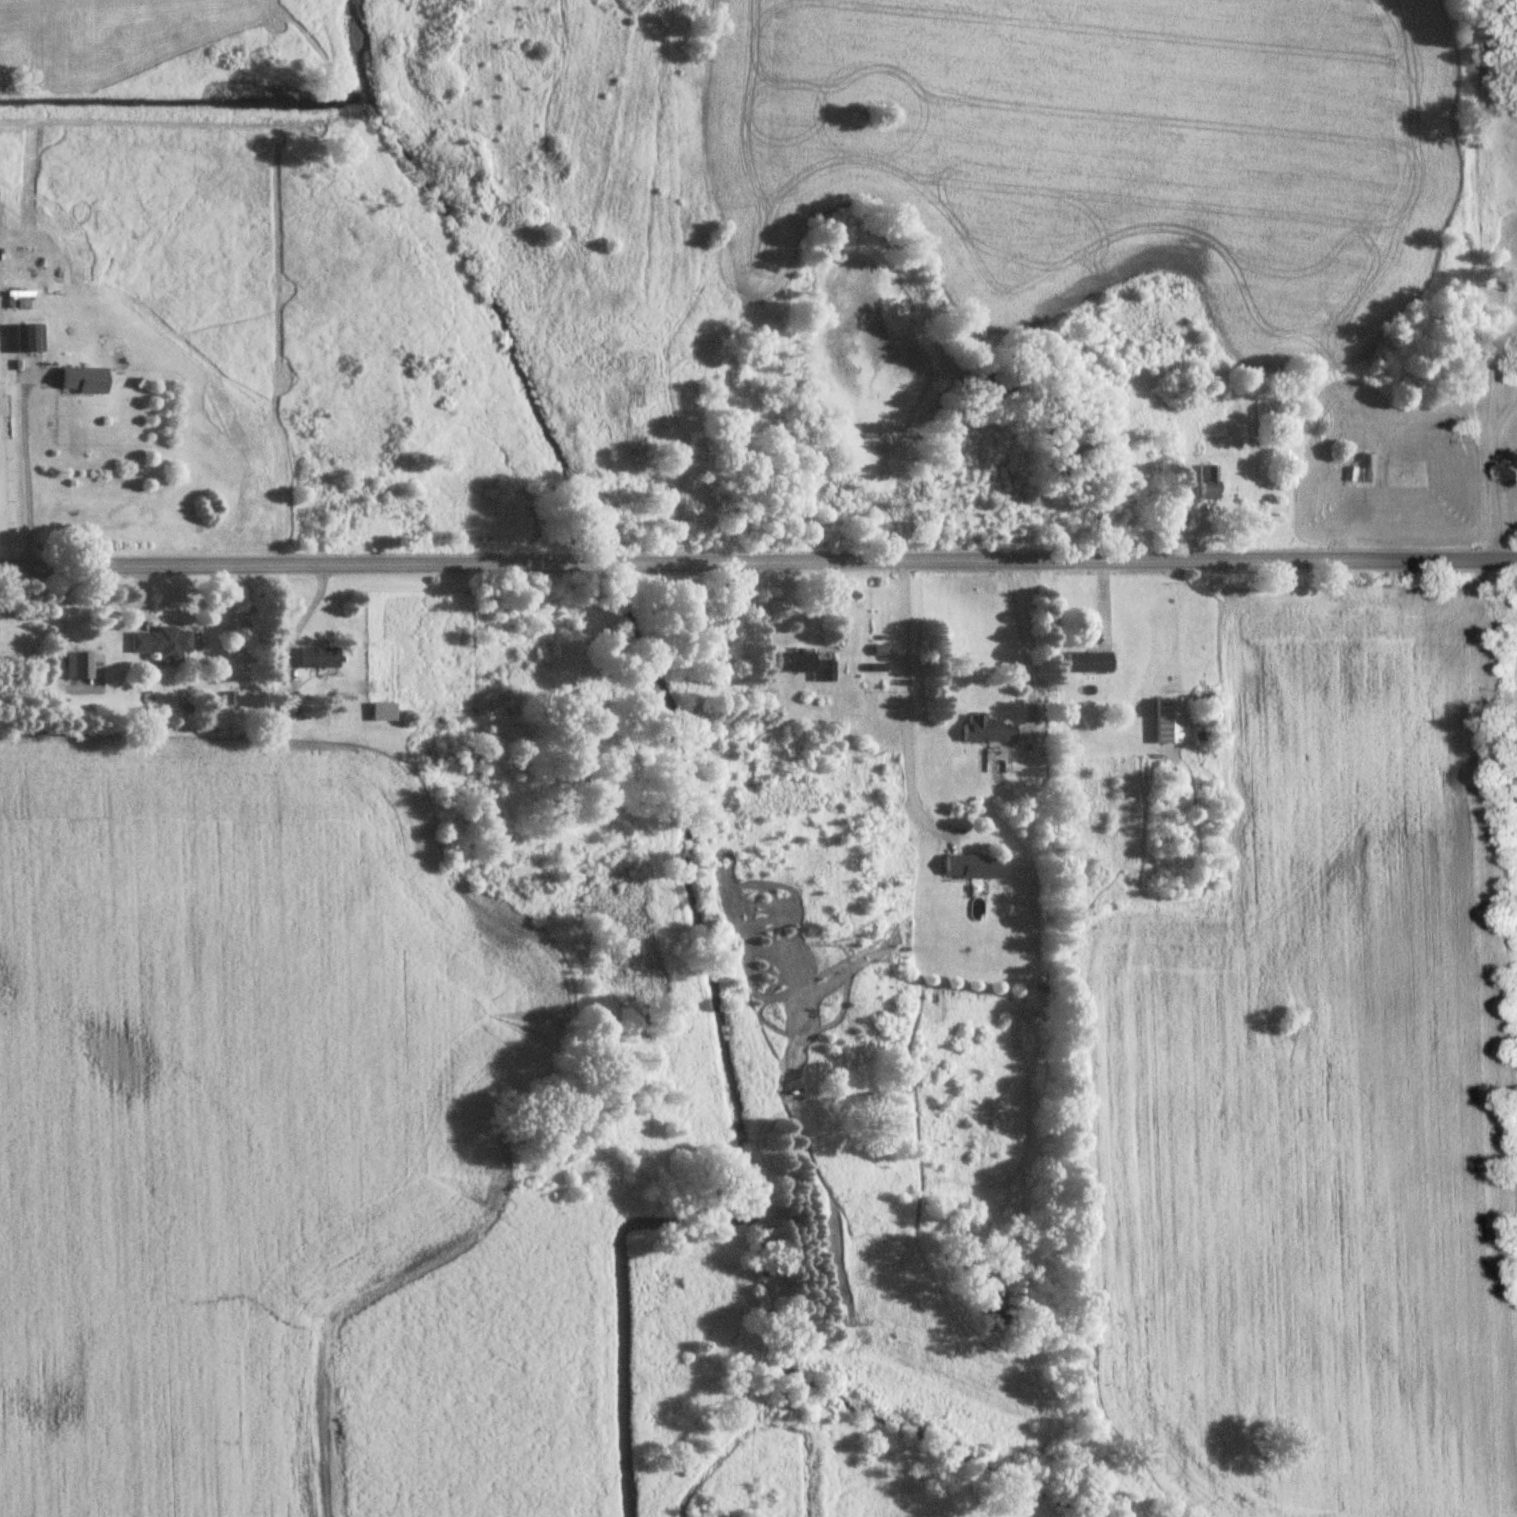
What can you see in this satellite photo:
building: (30, 340)
road: (1494, 357)
building: (85, 382)
road: (1505, 428)
road: (26, 473)
road: (1493, 480)
building: (1208, 484)
road: (758, 561)
road: (299, 621)
road: (1023, 641)
building: (164, 645)
building: (319, 659)
building: (1089, 663)
building: (79, 666)
building: (805, 666)
building: (290, 705)
road: (907, 709)
building: (384, 713)
building: (1168, 721)
building: (989, 731)
building: (973, 868)

